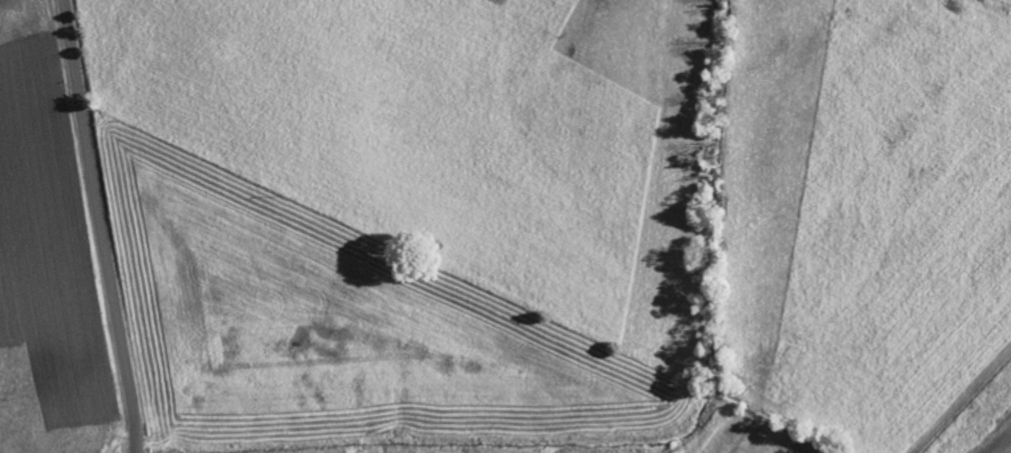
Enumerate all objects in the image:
road: (100, 226)

